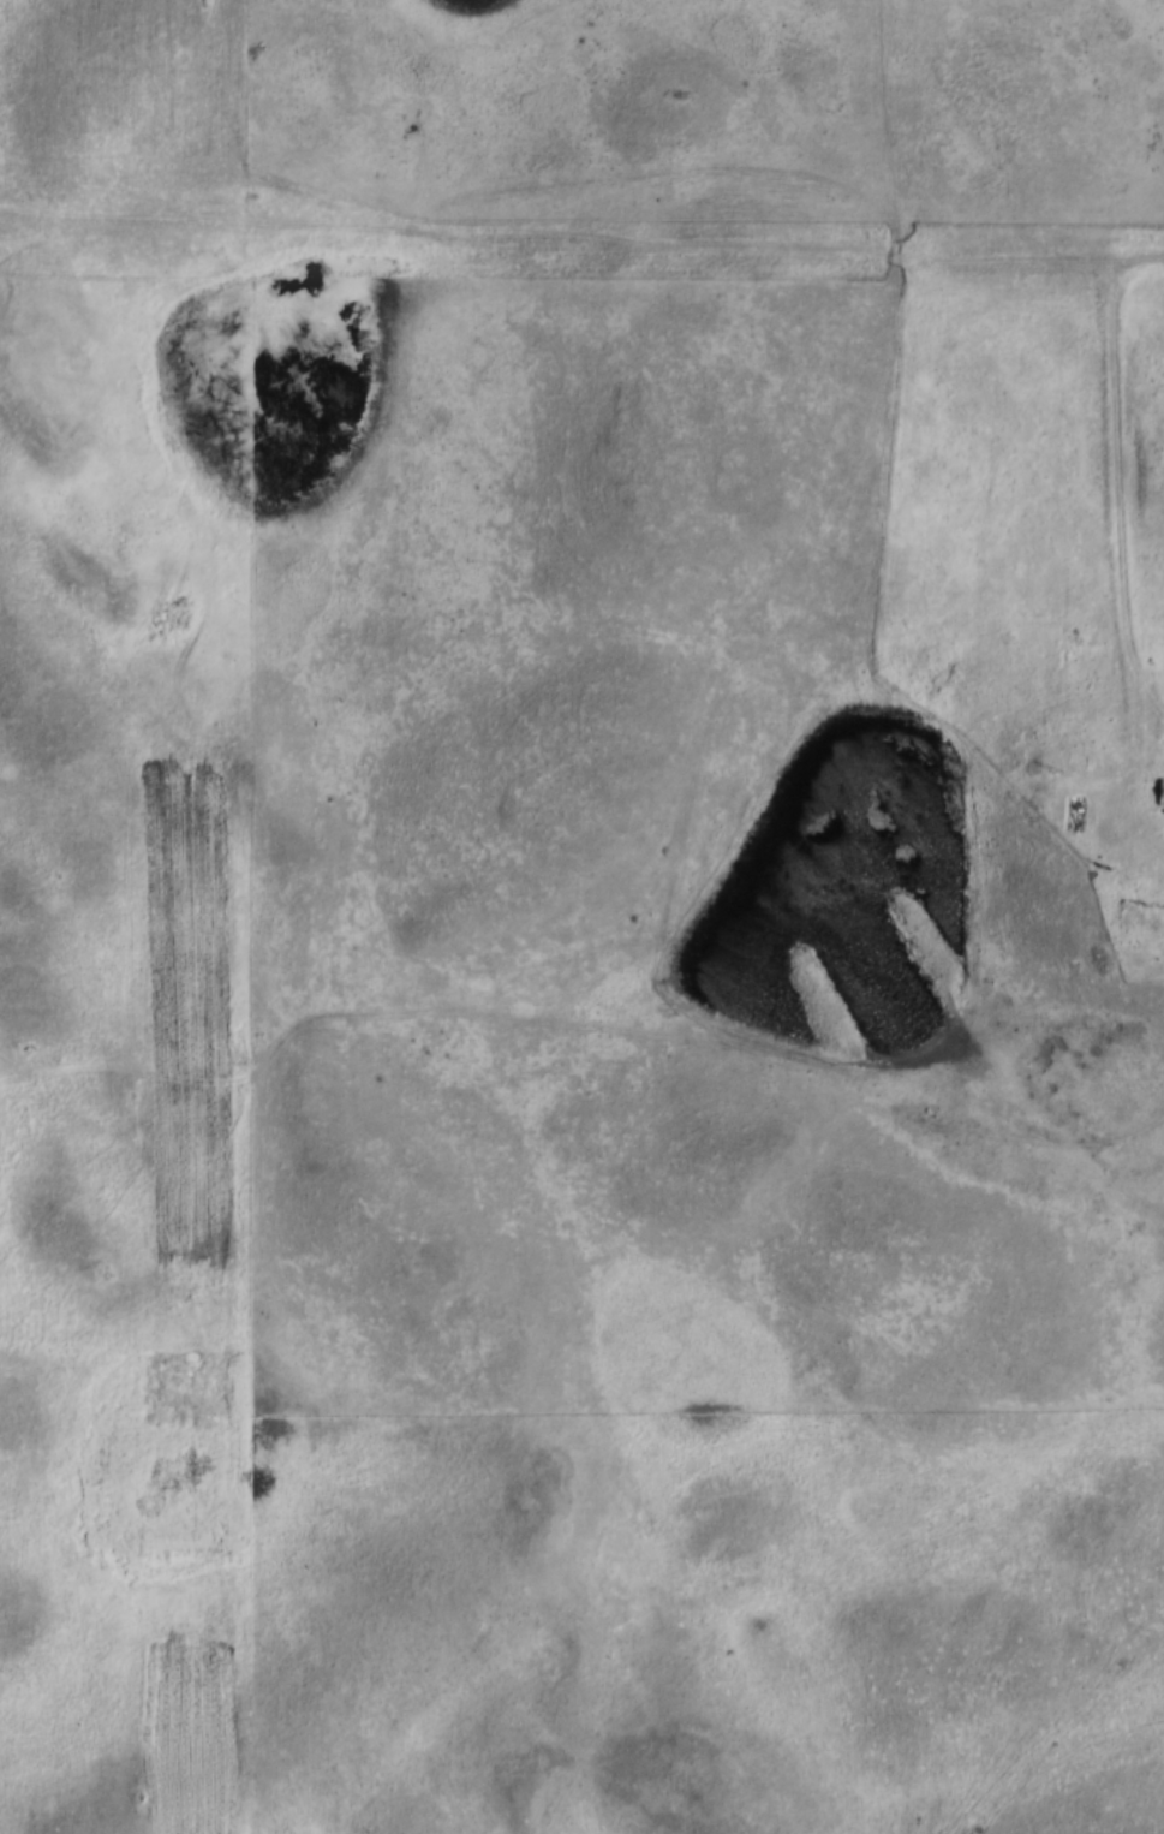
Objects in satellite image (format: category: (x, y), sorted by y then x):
road: (1130, 261)
building: (1160, 792)

